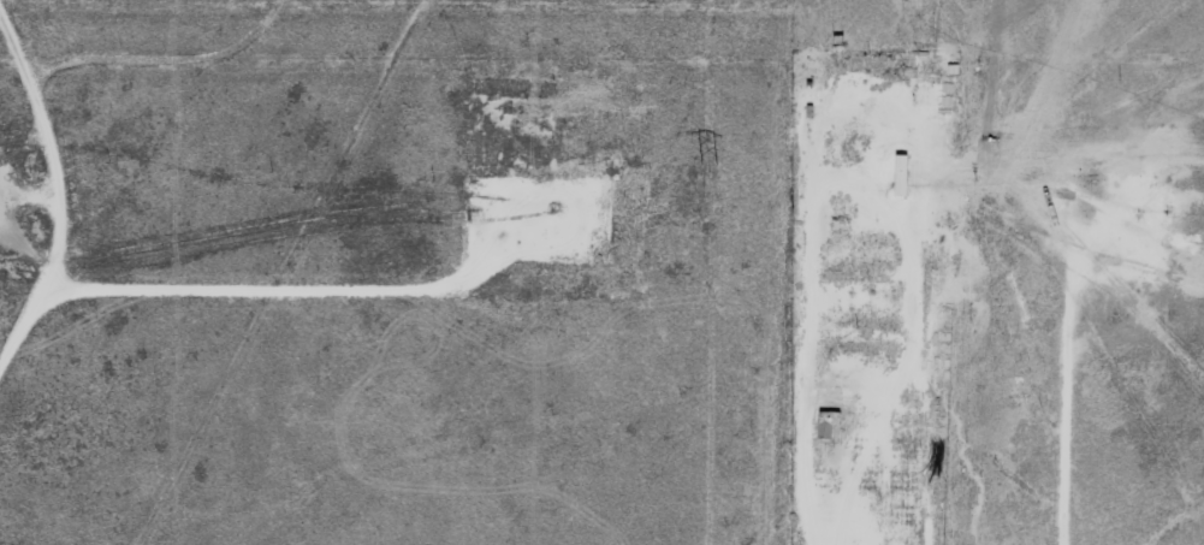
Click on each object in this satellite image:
road: (170, 40)
road: (814, 107)
power tower: (712, 160)
road: (51, 179)

